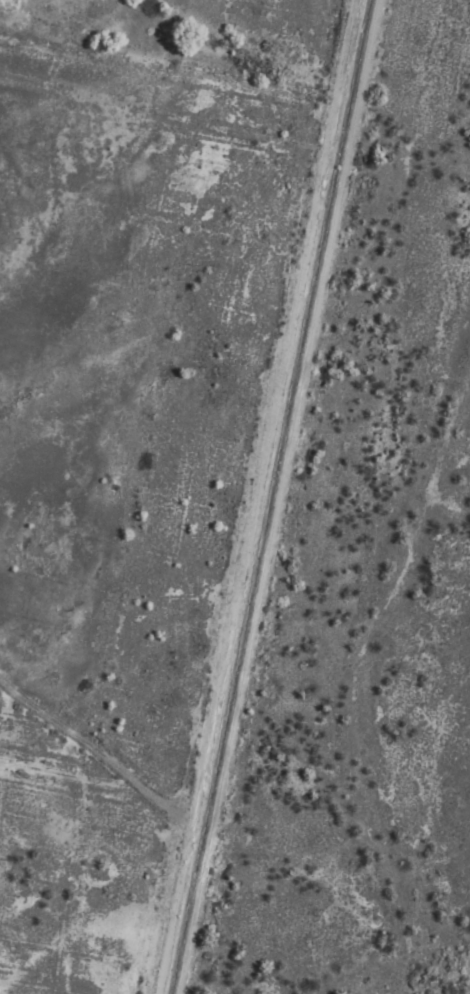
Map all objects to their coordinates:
road: (369, 34)
road: (253, 497)
road: (269, 531)
road: (92, 750)

